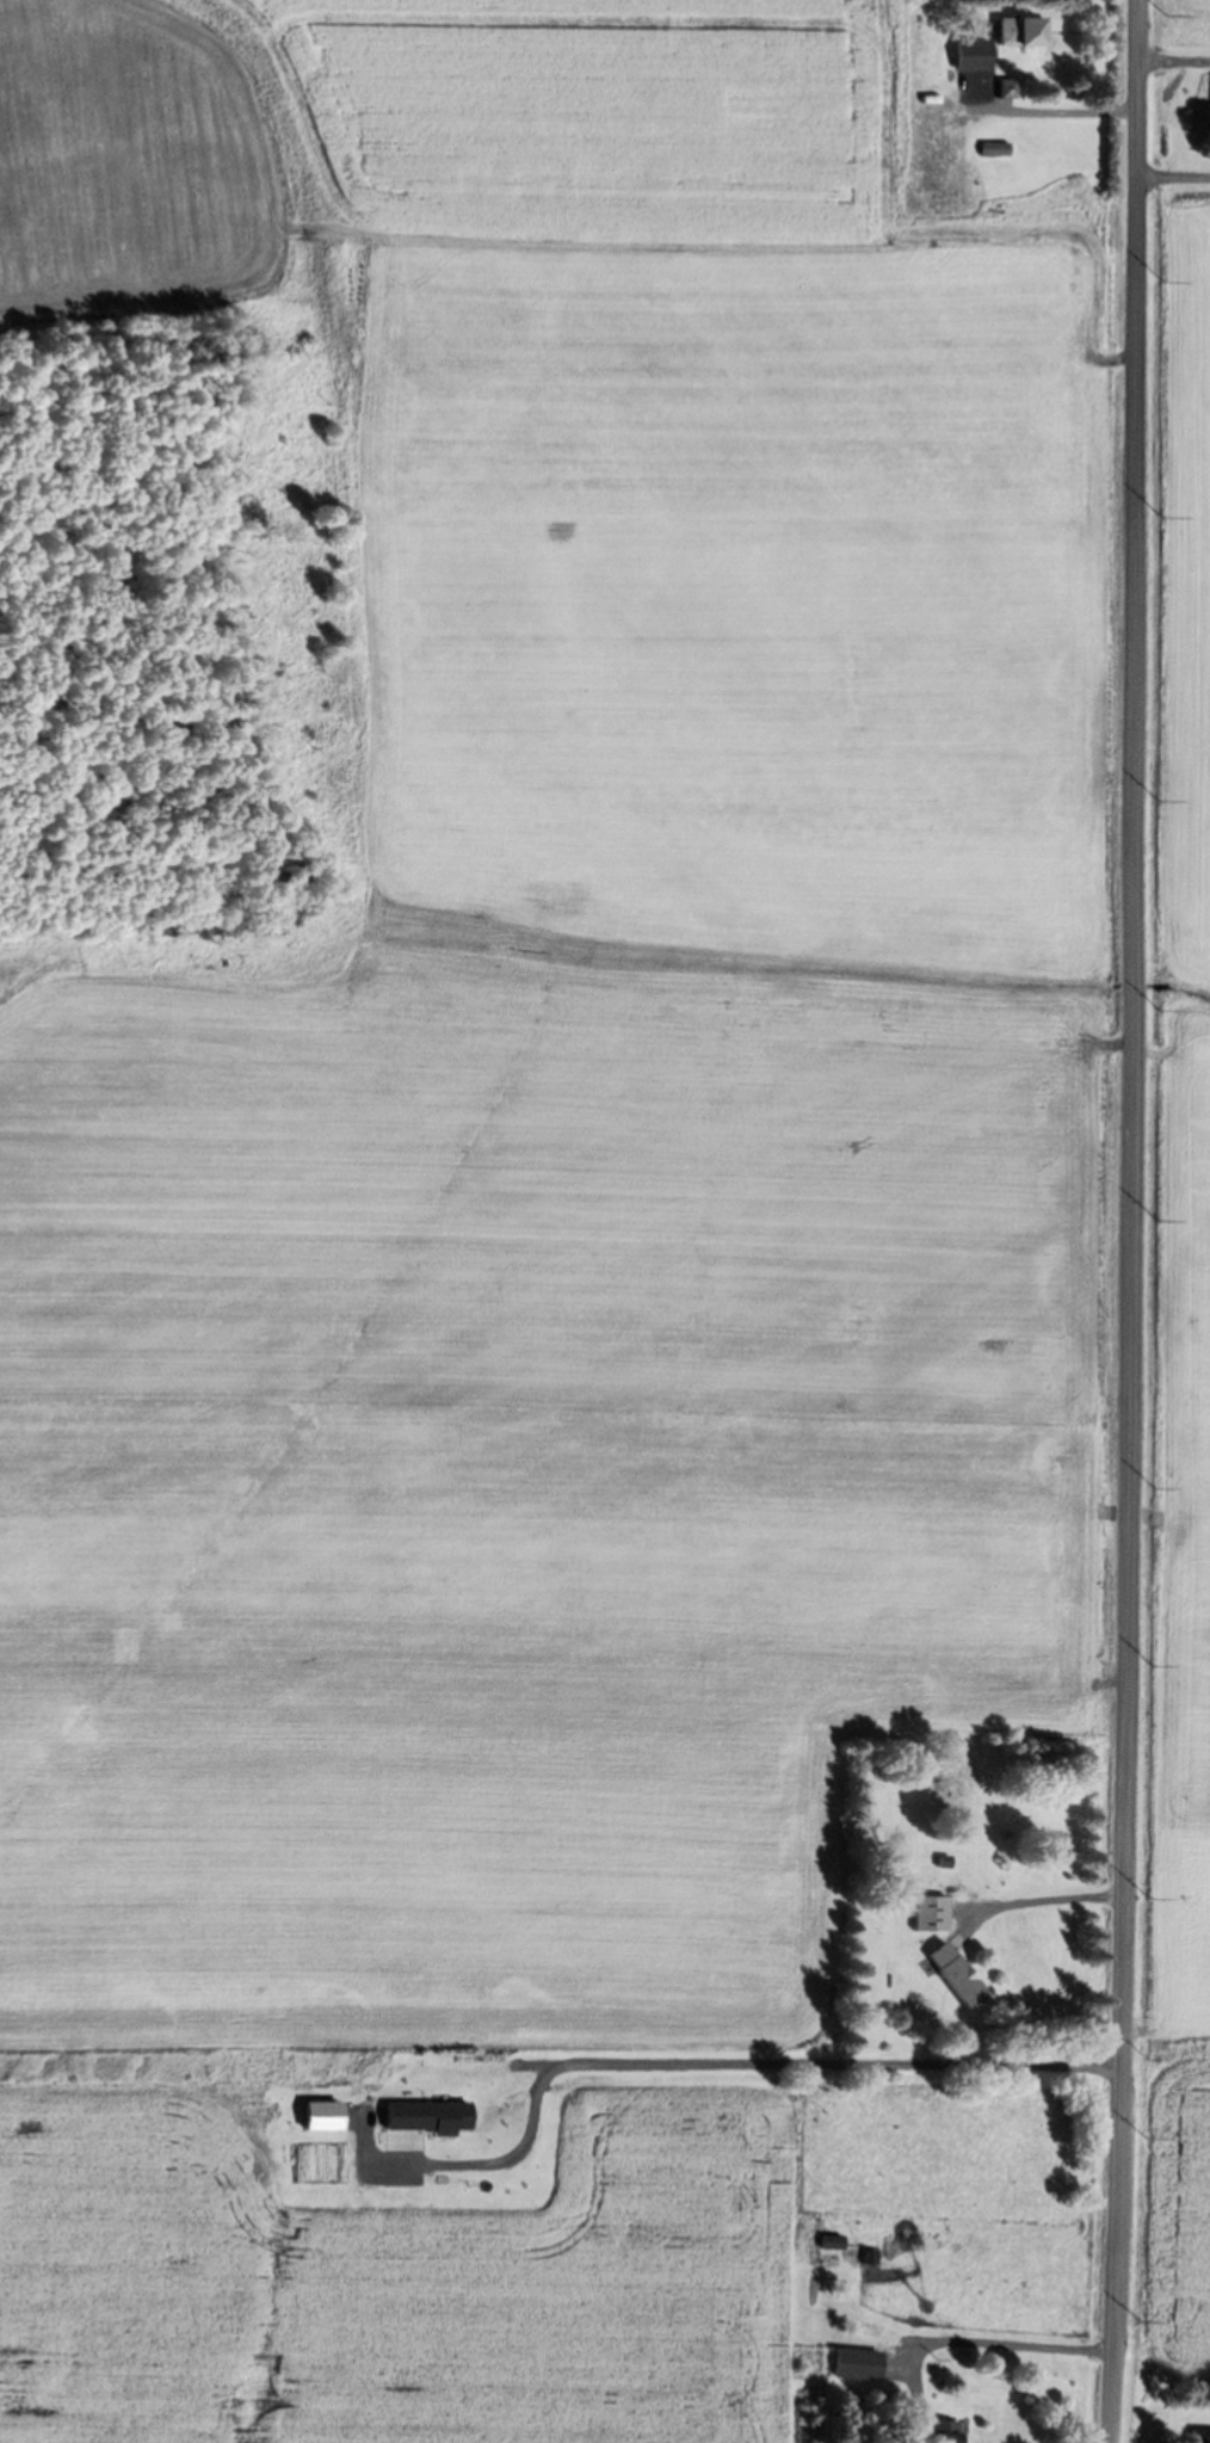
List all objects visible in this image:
building: (1018, 31)
building: (1006, 86)
building: (937, 132)
building: (994, 148)
road: (1132, 1221)
building: (952, 1782)
building: (930, 1912)
building: (955, 1974)
building: (831, 2241)
building: (869, 2256)
building: (854, 2362)
building: (946, 2433)
building: (1204, 2437)

